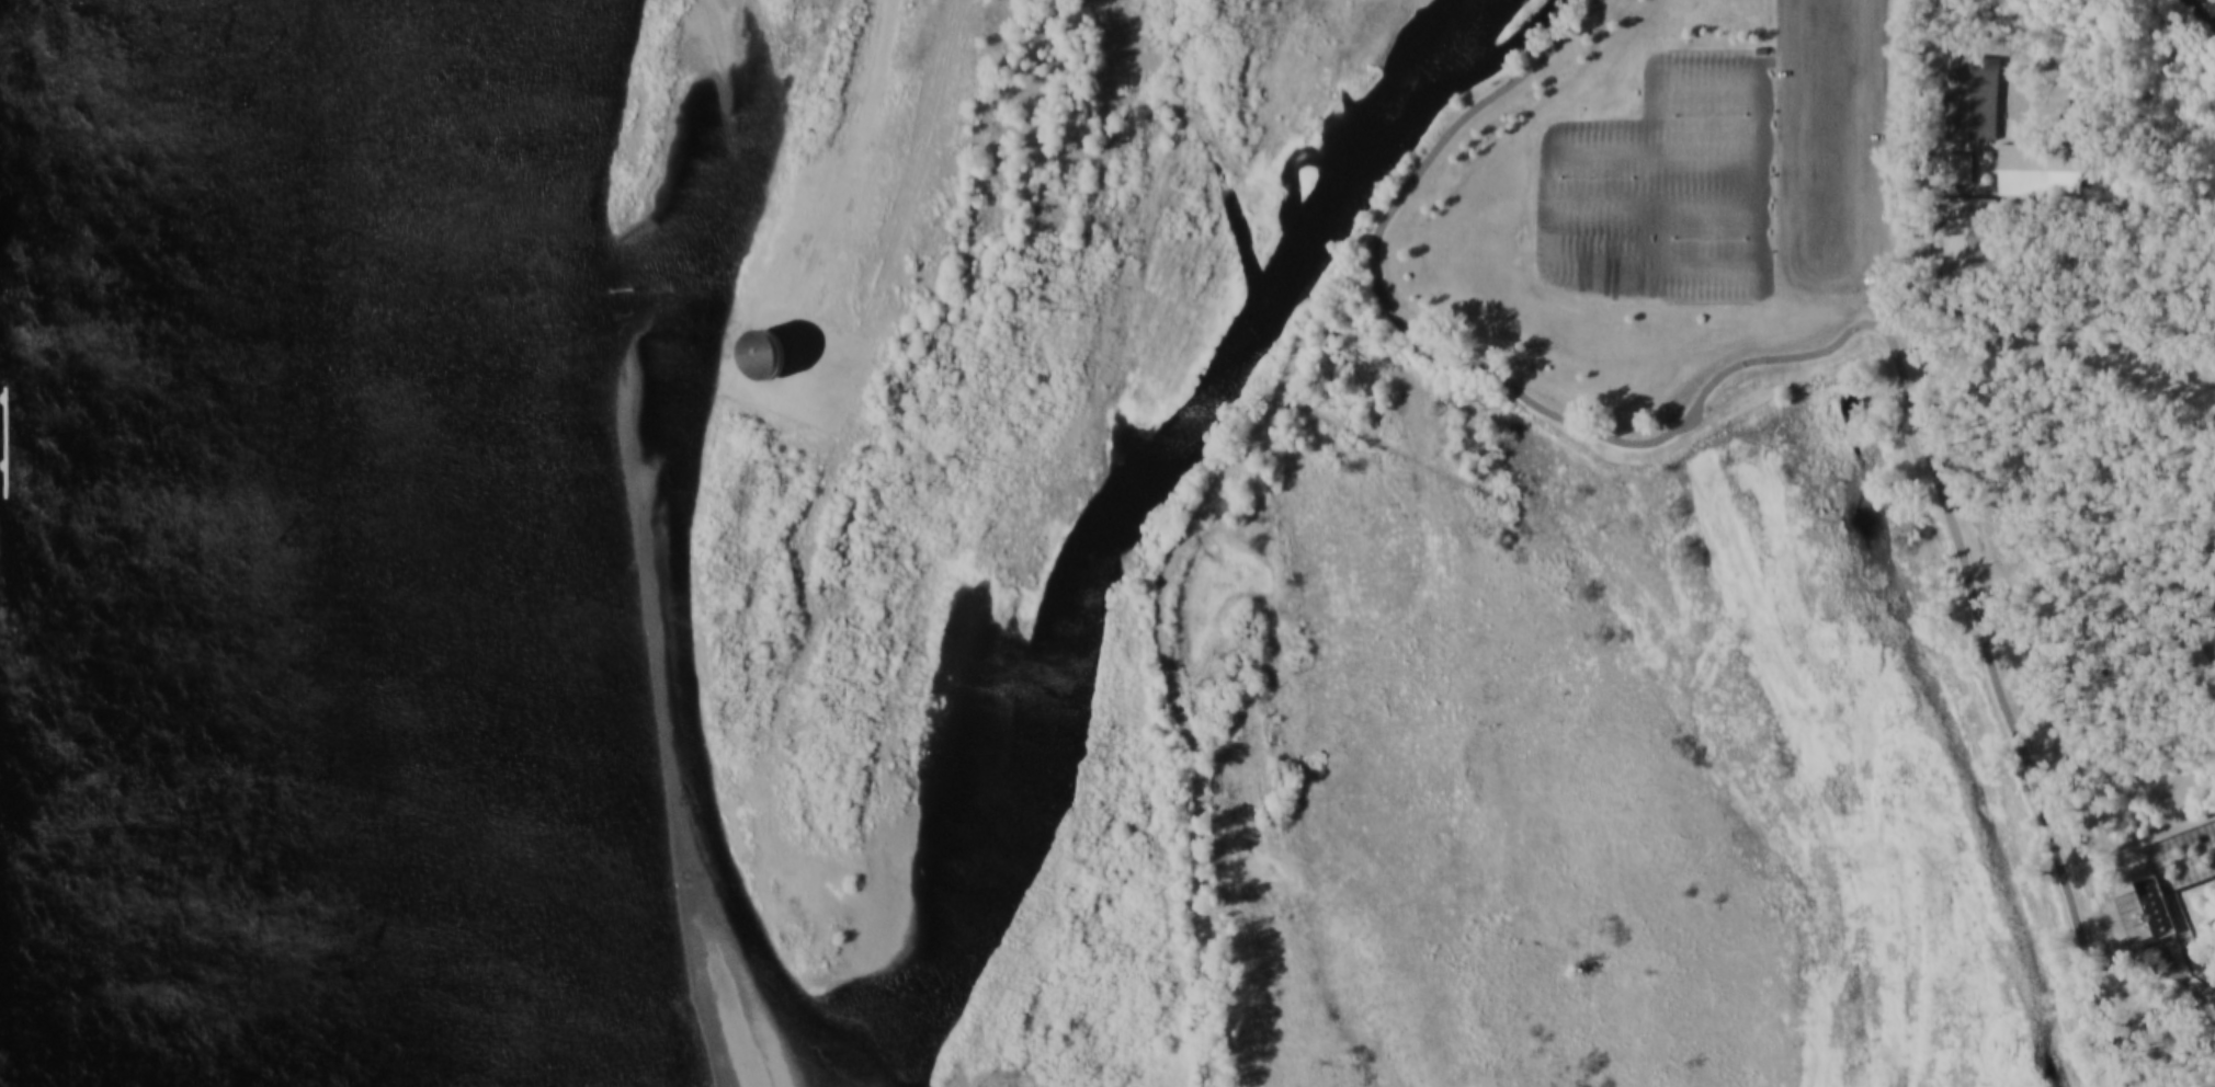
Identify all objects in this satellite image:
road: (2200, 13)
building: (1764, 49)
building: (1977, 100)
park: (1696, 114)
park: (1731, 115)
road: (1984, 141)
parking lot: (1838, 147)
building: (1962, 169)
building: (2044, 171)
park: (1581, 174)
park: (1618, 176)
park: (1696, 238)
park: (1731, 238)
building: (1973, 240)
road: (2048, 345)
building: (766, 352)
road: (1799, 356)
river: (364, 543)
park: (1719, 575)
road: (2207, 634)
road: (1169, 640)
park: (2091, 647)
building: (2147, 913)
road: (2189, 984)

